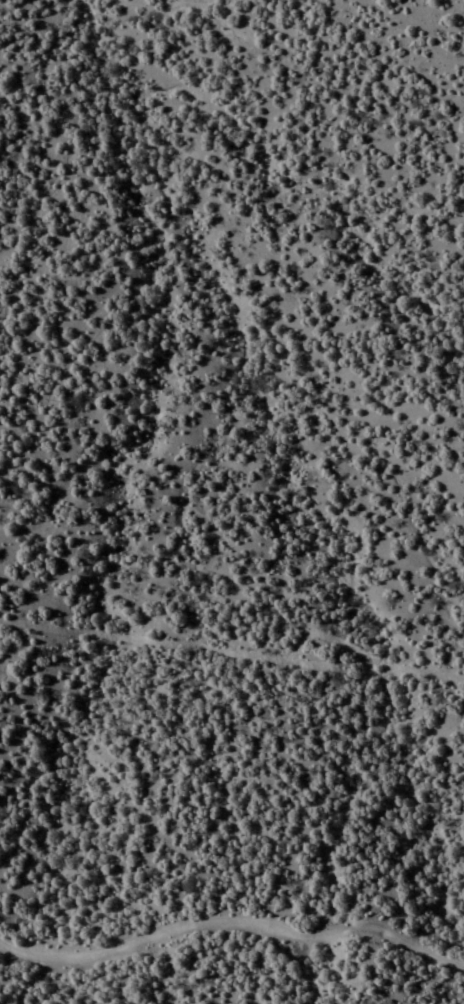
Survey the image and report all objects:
road: (229, 959)

